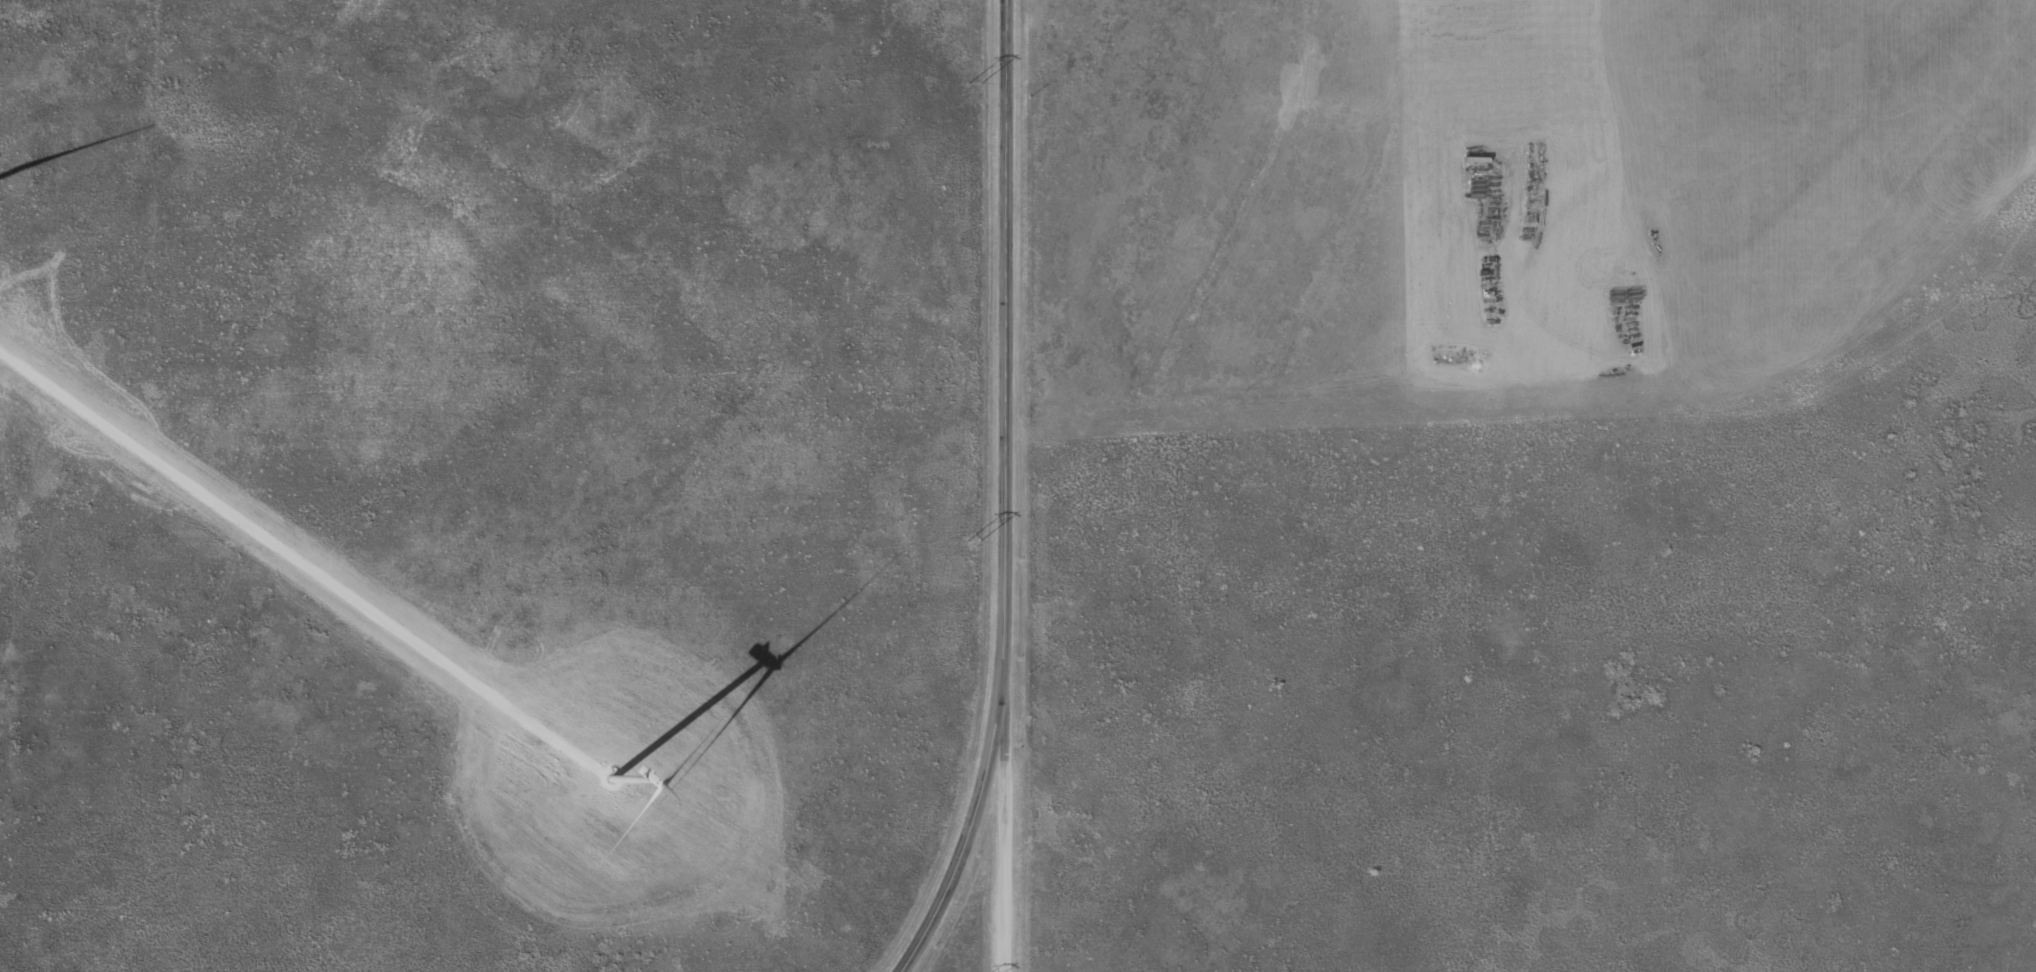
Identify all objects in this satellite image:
power tower: (969, 80)
road: (1004, 495)
power tower: (969, 540)
wind turbine: (609, 781)
road: (1010, 830)

